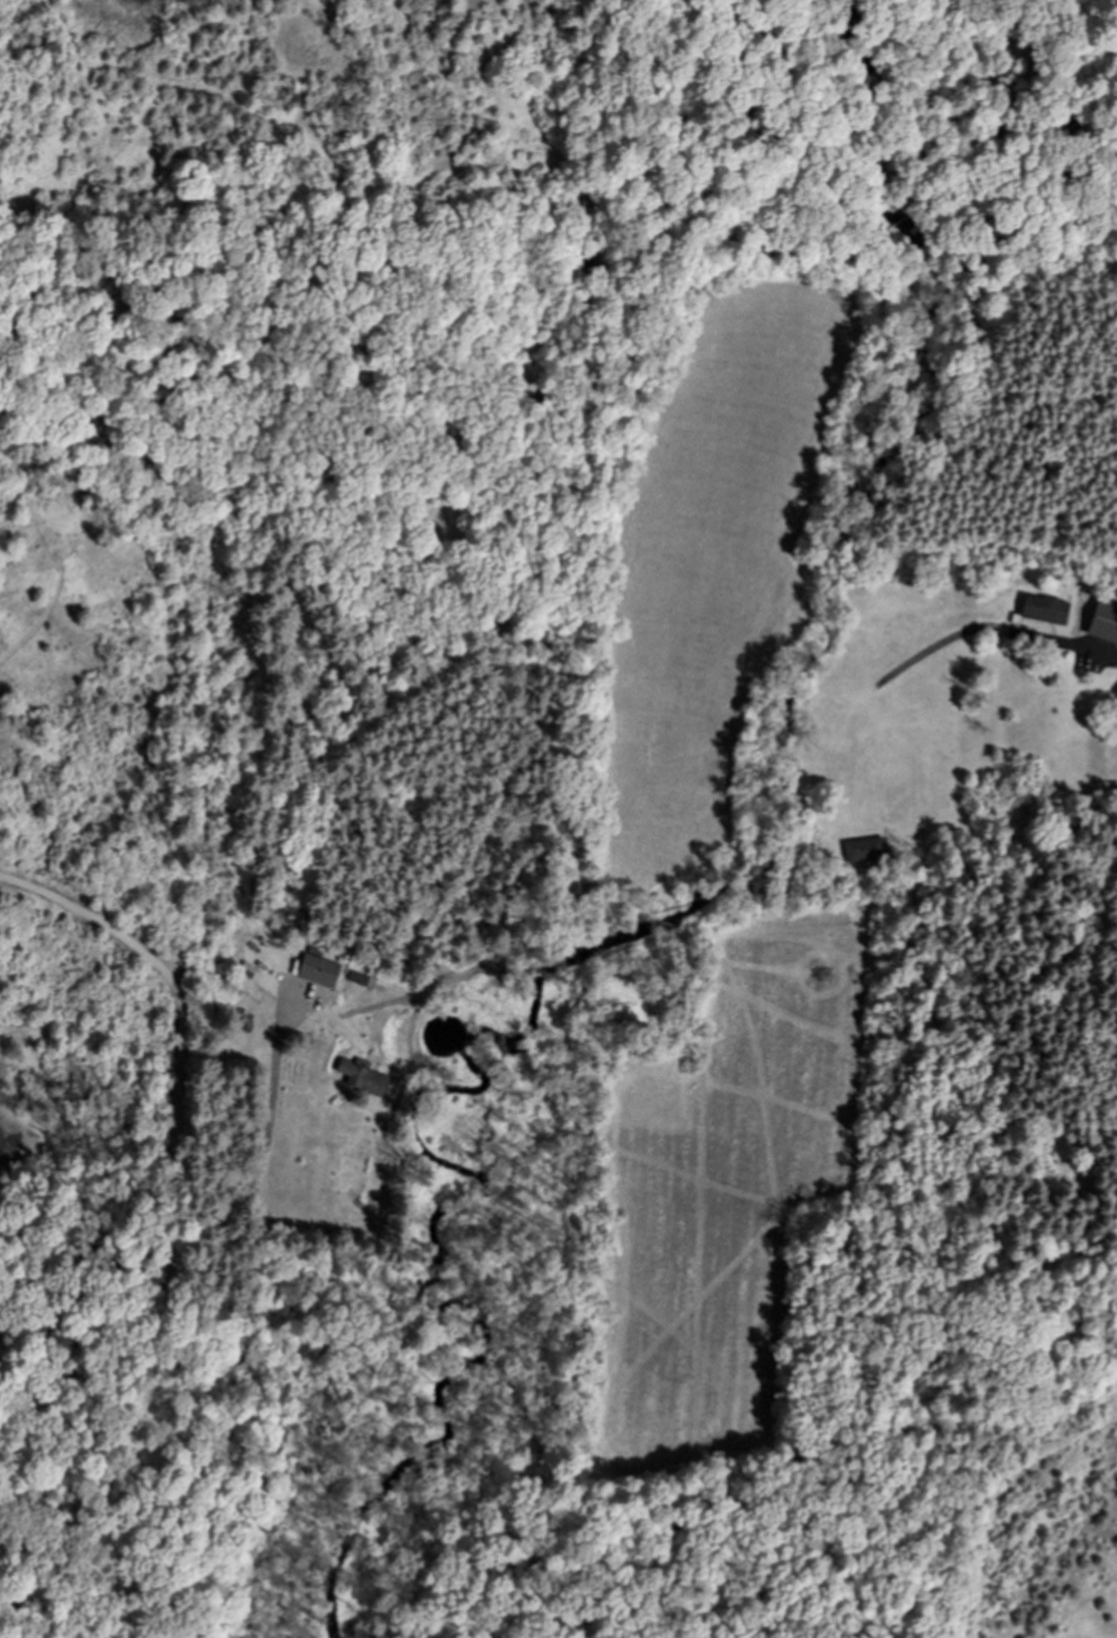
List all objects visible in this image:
building: (1044, 609)
river: (704, 840)
building: (863, 850)
building: (357, 978)
road: (178, 1014)
building: (362, 1076)
road: (154, 1317)

